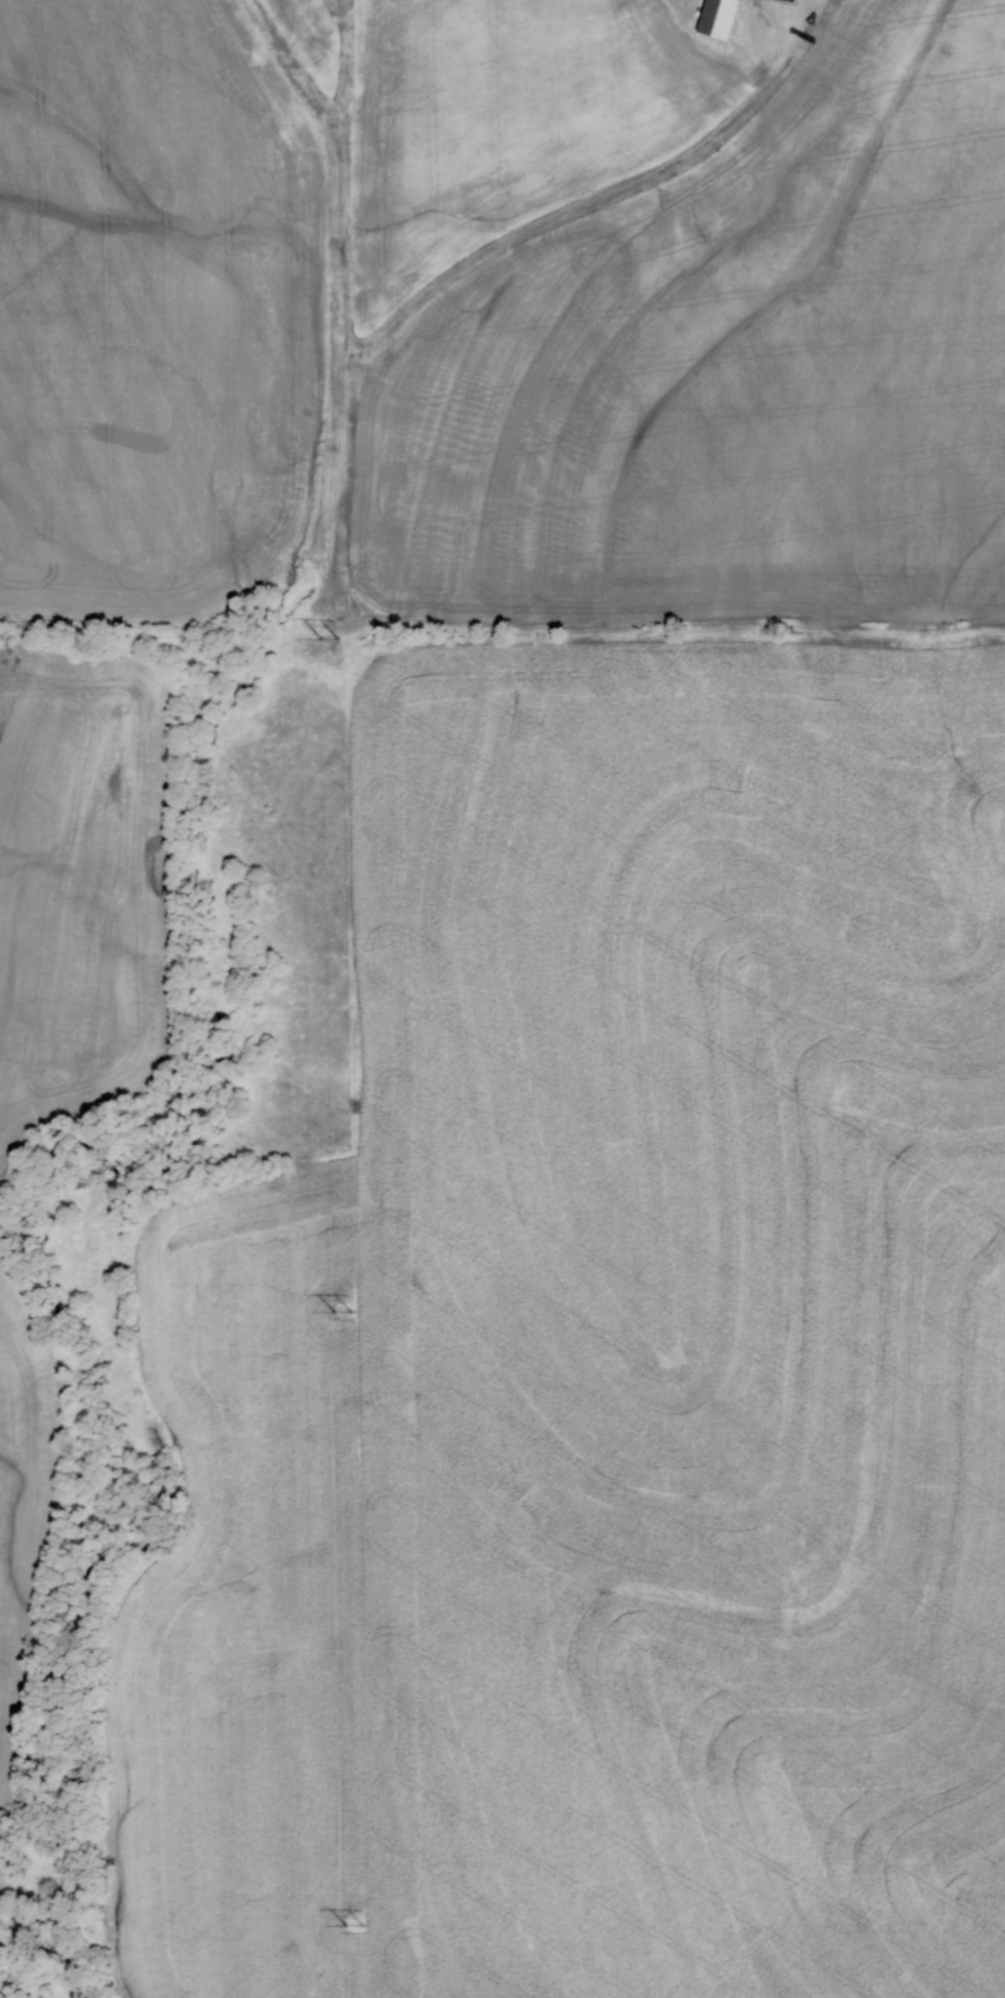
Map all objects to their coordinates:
building: (722, 18)
power tower: (324, 642)
power tower: (340, 1313)
power tower: (349, 1931)

